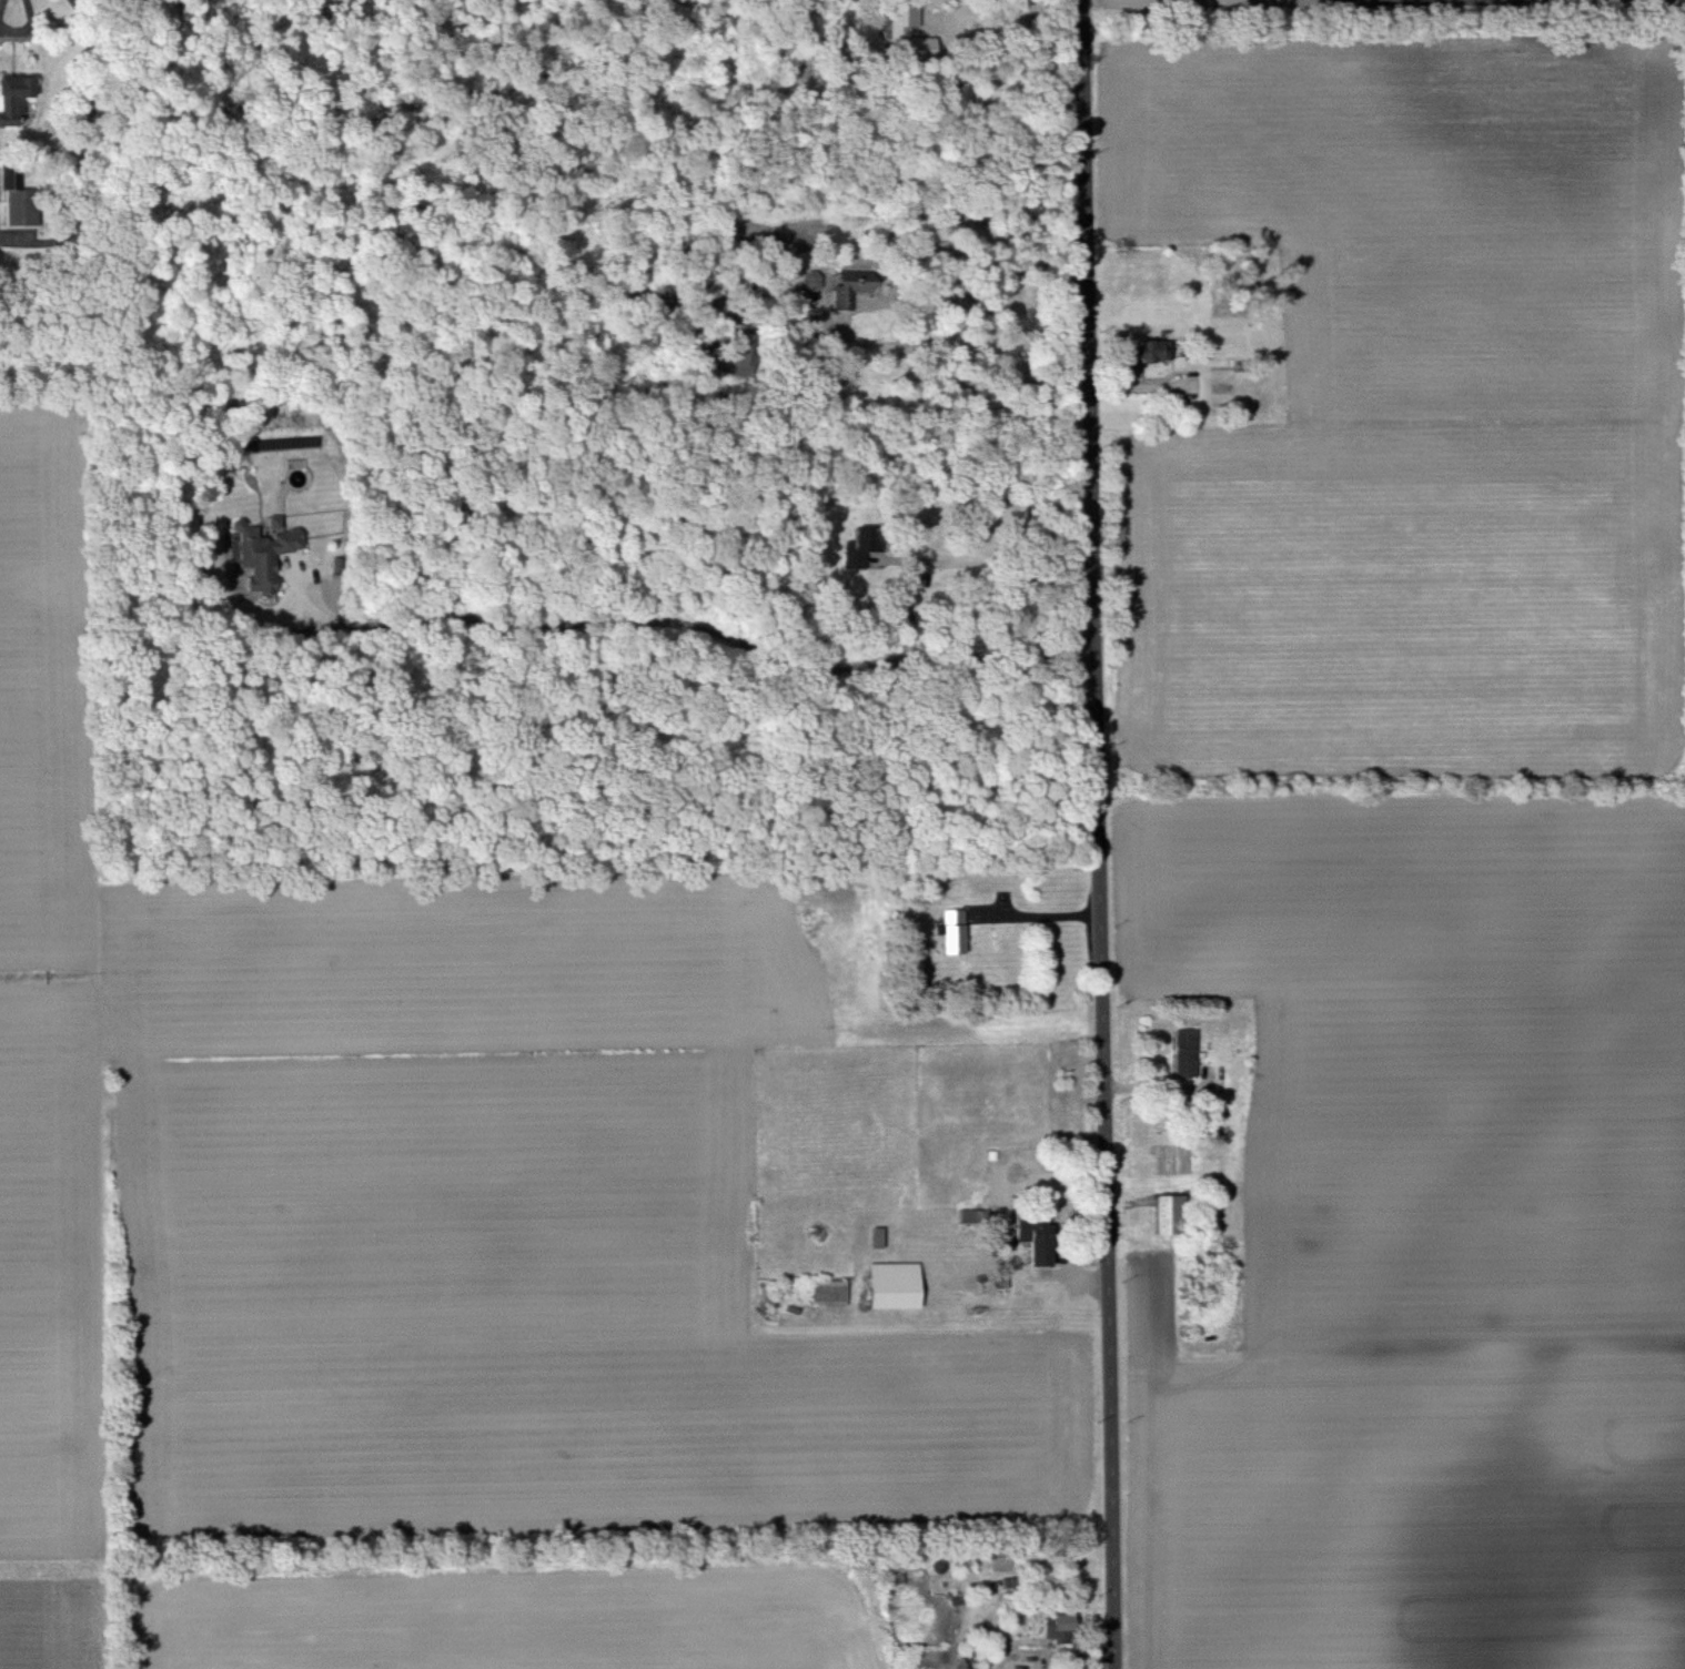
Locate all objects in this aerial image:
road: (67, 2)
road: (1, 4)
road: (28, 29)
road: (951, 50)
building: (16, 97)
building: (20, 202)
building: (861, 296)
building: (1161, 353)
road: (962, 376)
building: (270, 556)
road: (996, 577)
road: (705, 646)
road: (1100, 834)
road: (1040, 914)
building: (959, 932)
building: (1190, 1054)
road: (1168, 1089)
building: (1177, 1215)
building: (1042, 1235)
building: (901, 1286)
building: (834, 1293)
building: (1071, 1624)

